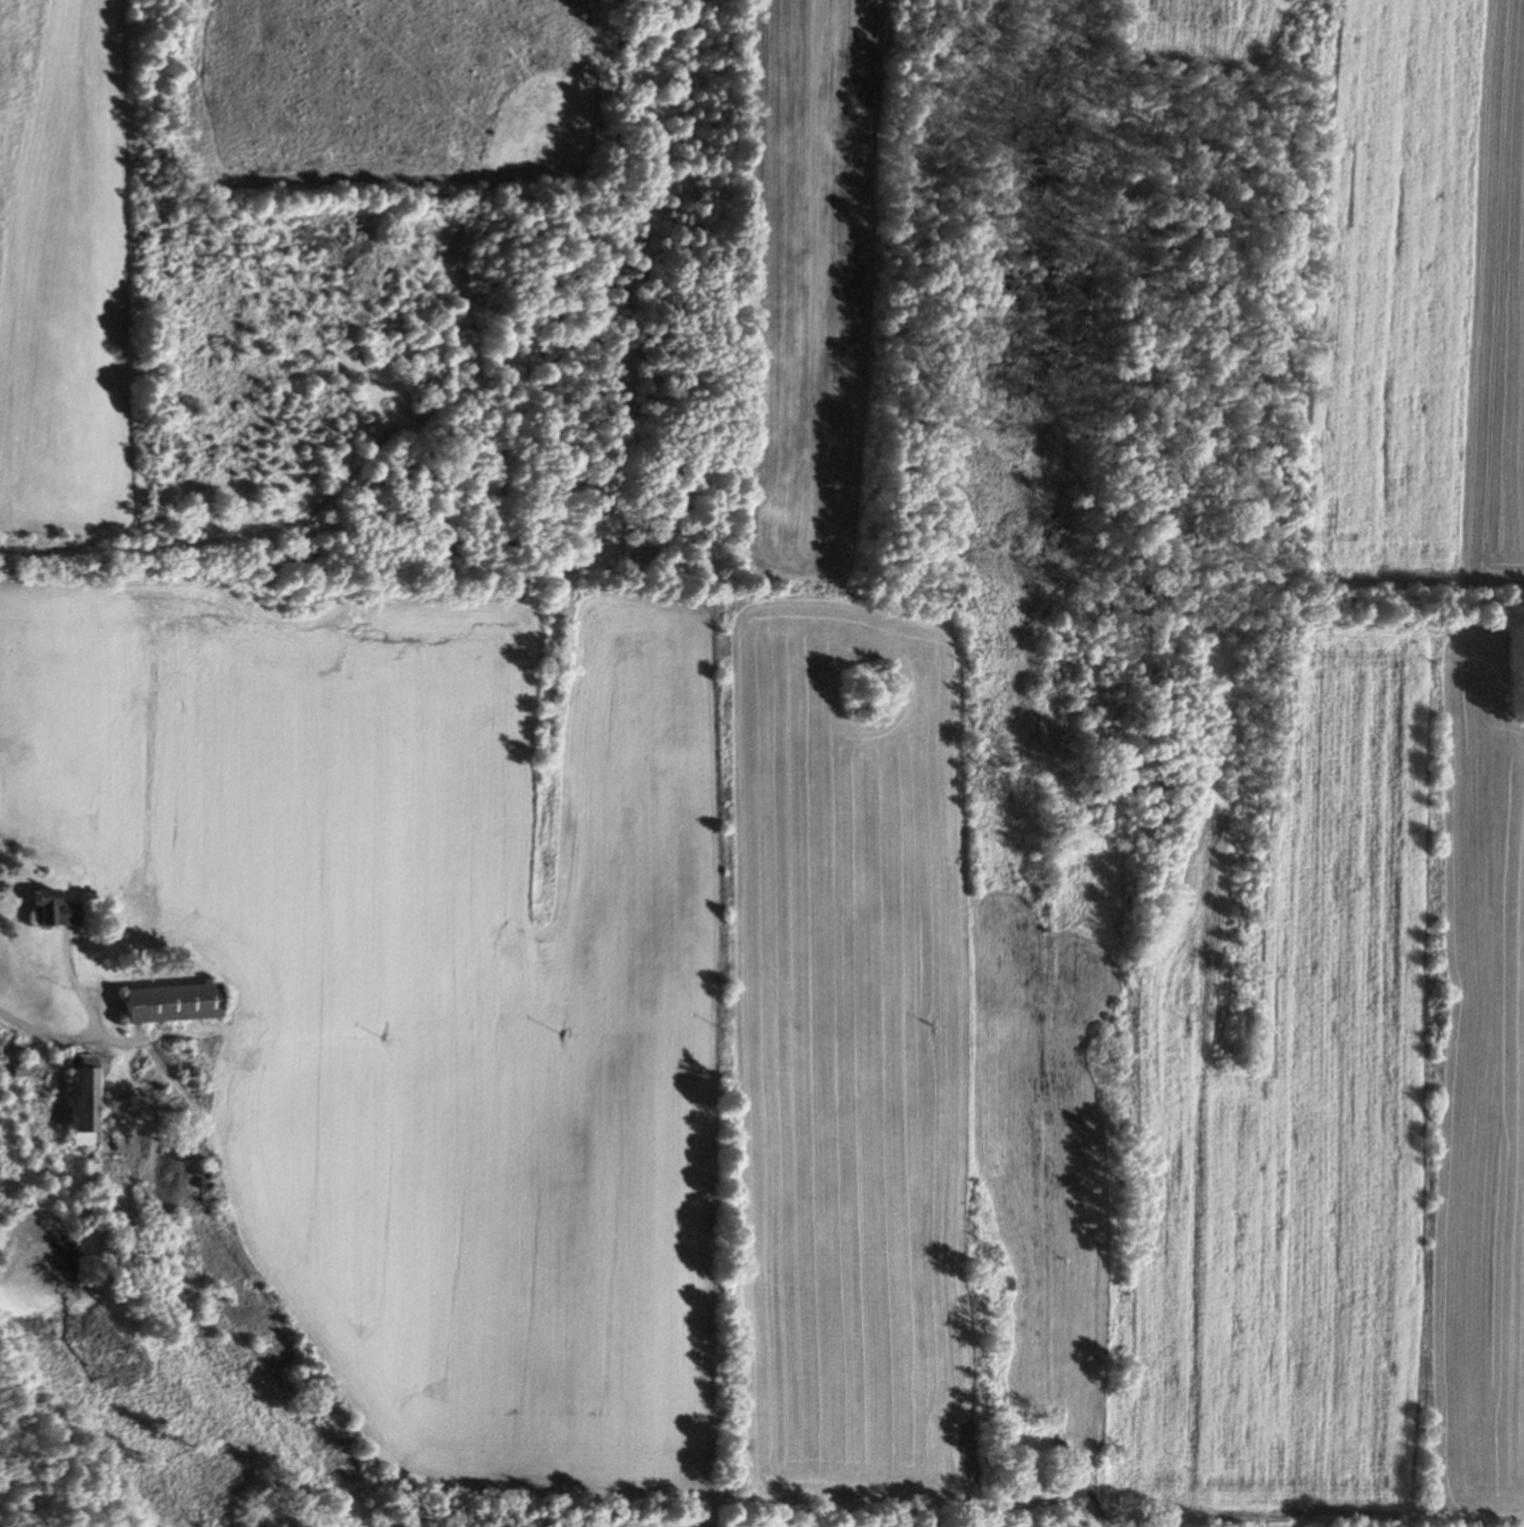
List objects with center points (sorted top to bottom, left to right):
building: (48, 912)
road: (77, 988)
building: (164, 1005)
road: (49, 1035)
road: (121, 1043)
building: (21, 1070)
building: (78, 1102)

